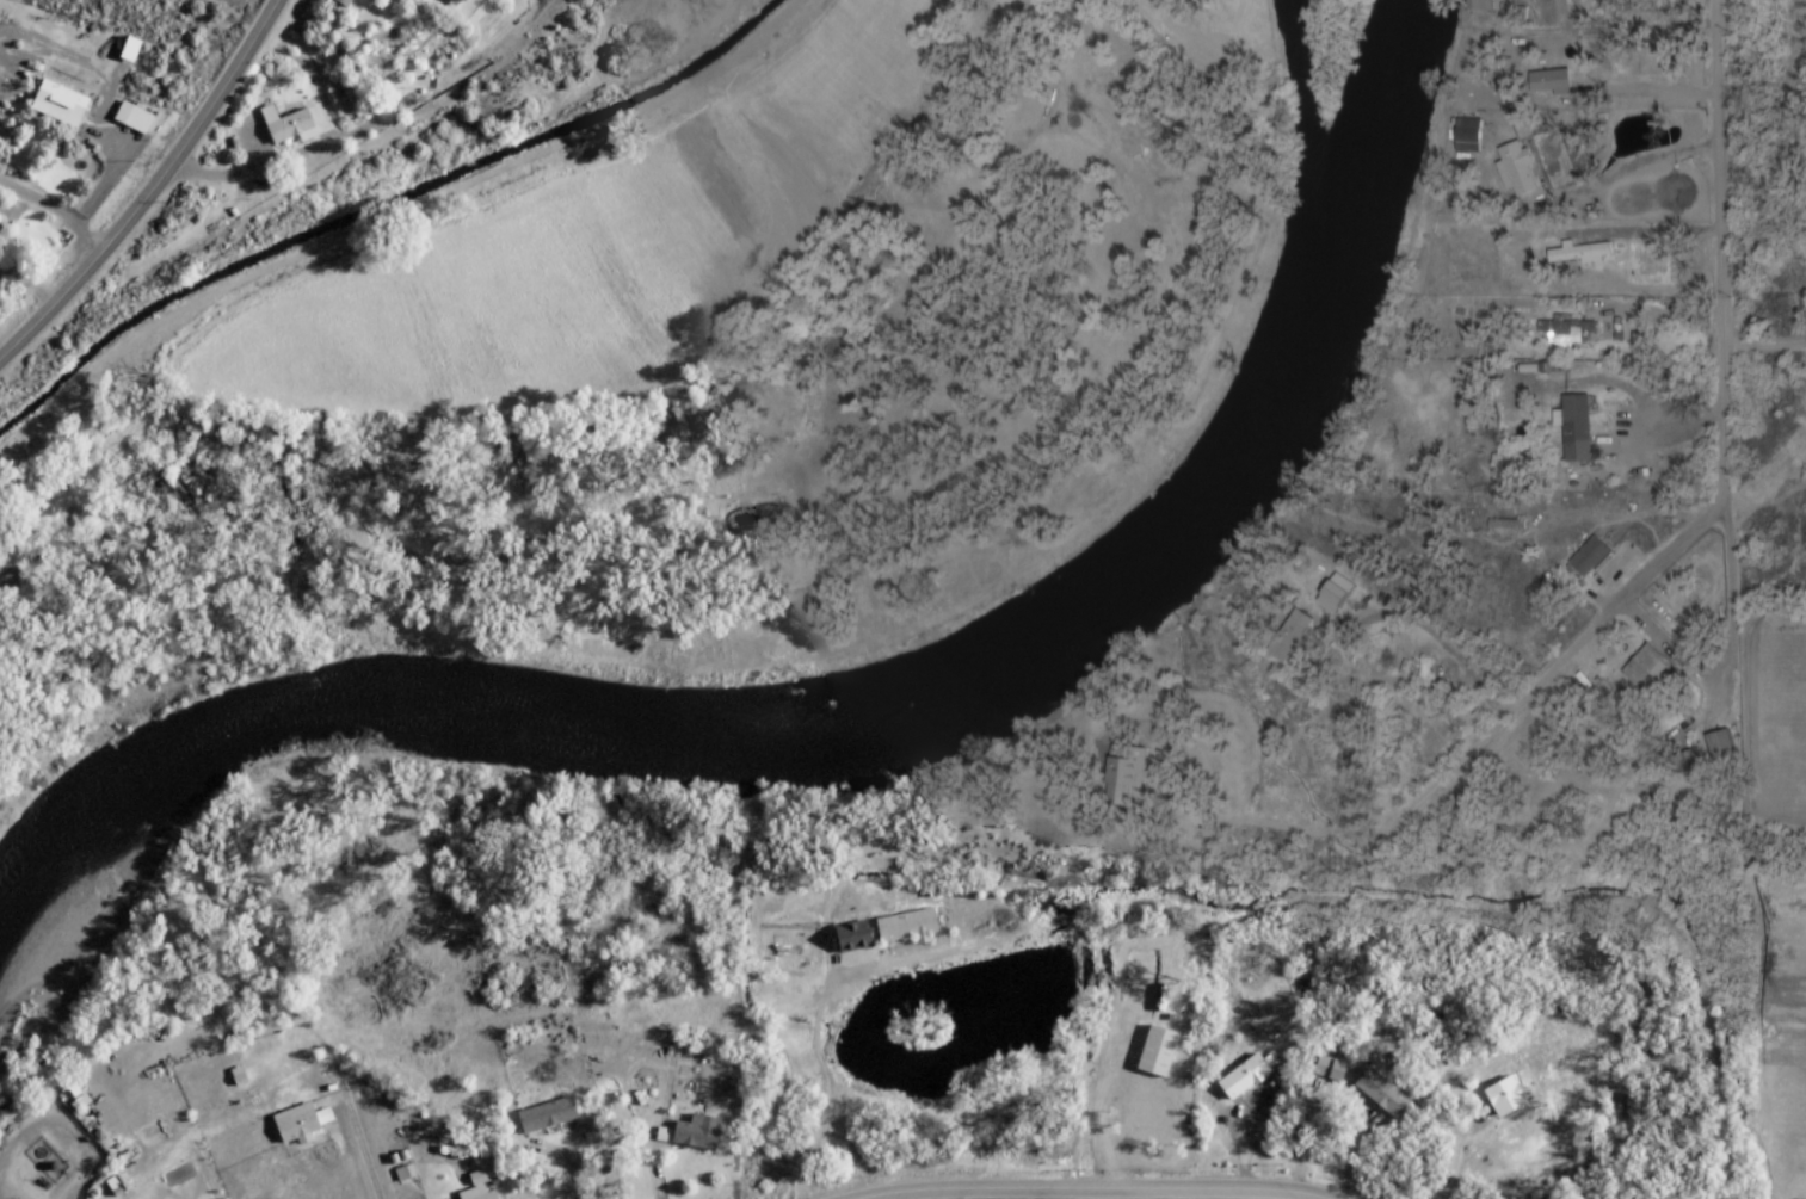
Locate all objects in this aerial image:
building: (343, 2)
building: (454, 2)
building: (1483, 7)
building: (130, 49)
building: (1552, 84)
building: (61, 103)
building: (1580, 113)
river: (1309, 116)
building: (132, 118)
building: (289, 124)
road: (277, 165)
building: (1521, 169)
road: (149, 187)
building: (1, 230)
building: (1582, 254)
building: (1570, 332)
building: (1578, 426)
road: (1712, 512)
building: (1592, 560)
building: (1292, 636)
building: (1646, 667)
river: (859, 717)
building: (1127, 774)
building: (907, 927)
building: (852, 938)
building: (1148, 987)
building: (1157, 1051)
building: (1329, 1065)
building: (1243, 1077)
building: (1382, 1094)
building: (1504, 1096)
building: (547, 1115)
building: (297, 1124)
building: (696, 1133)
road: (1095, 1189)
building: (486, 1195)

